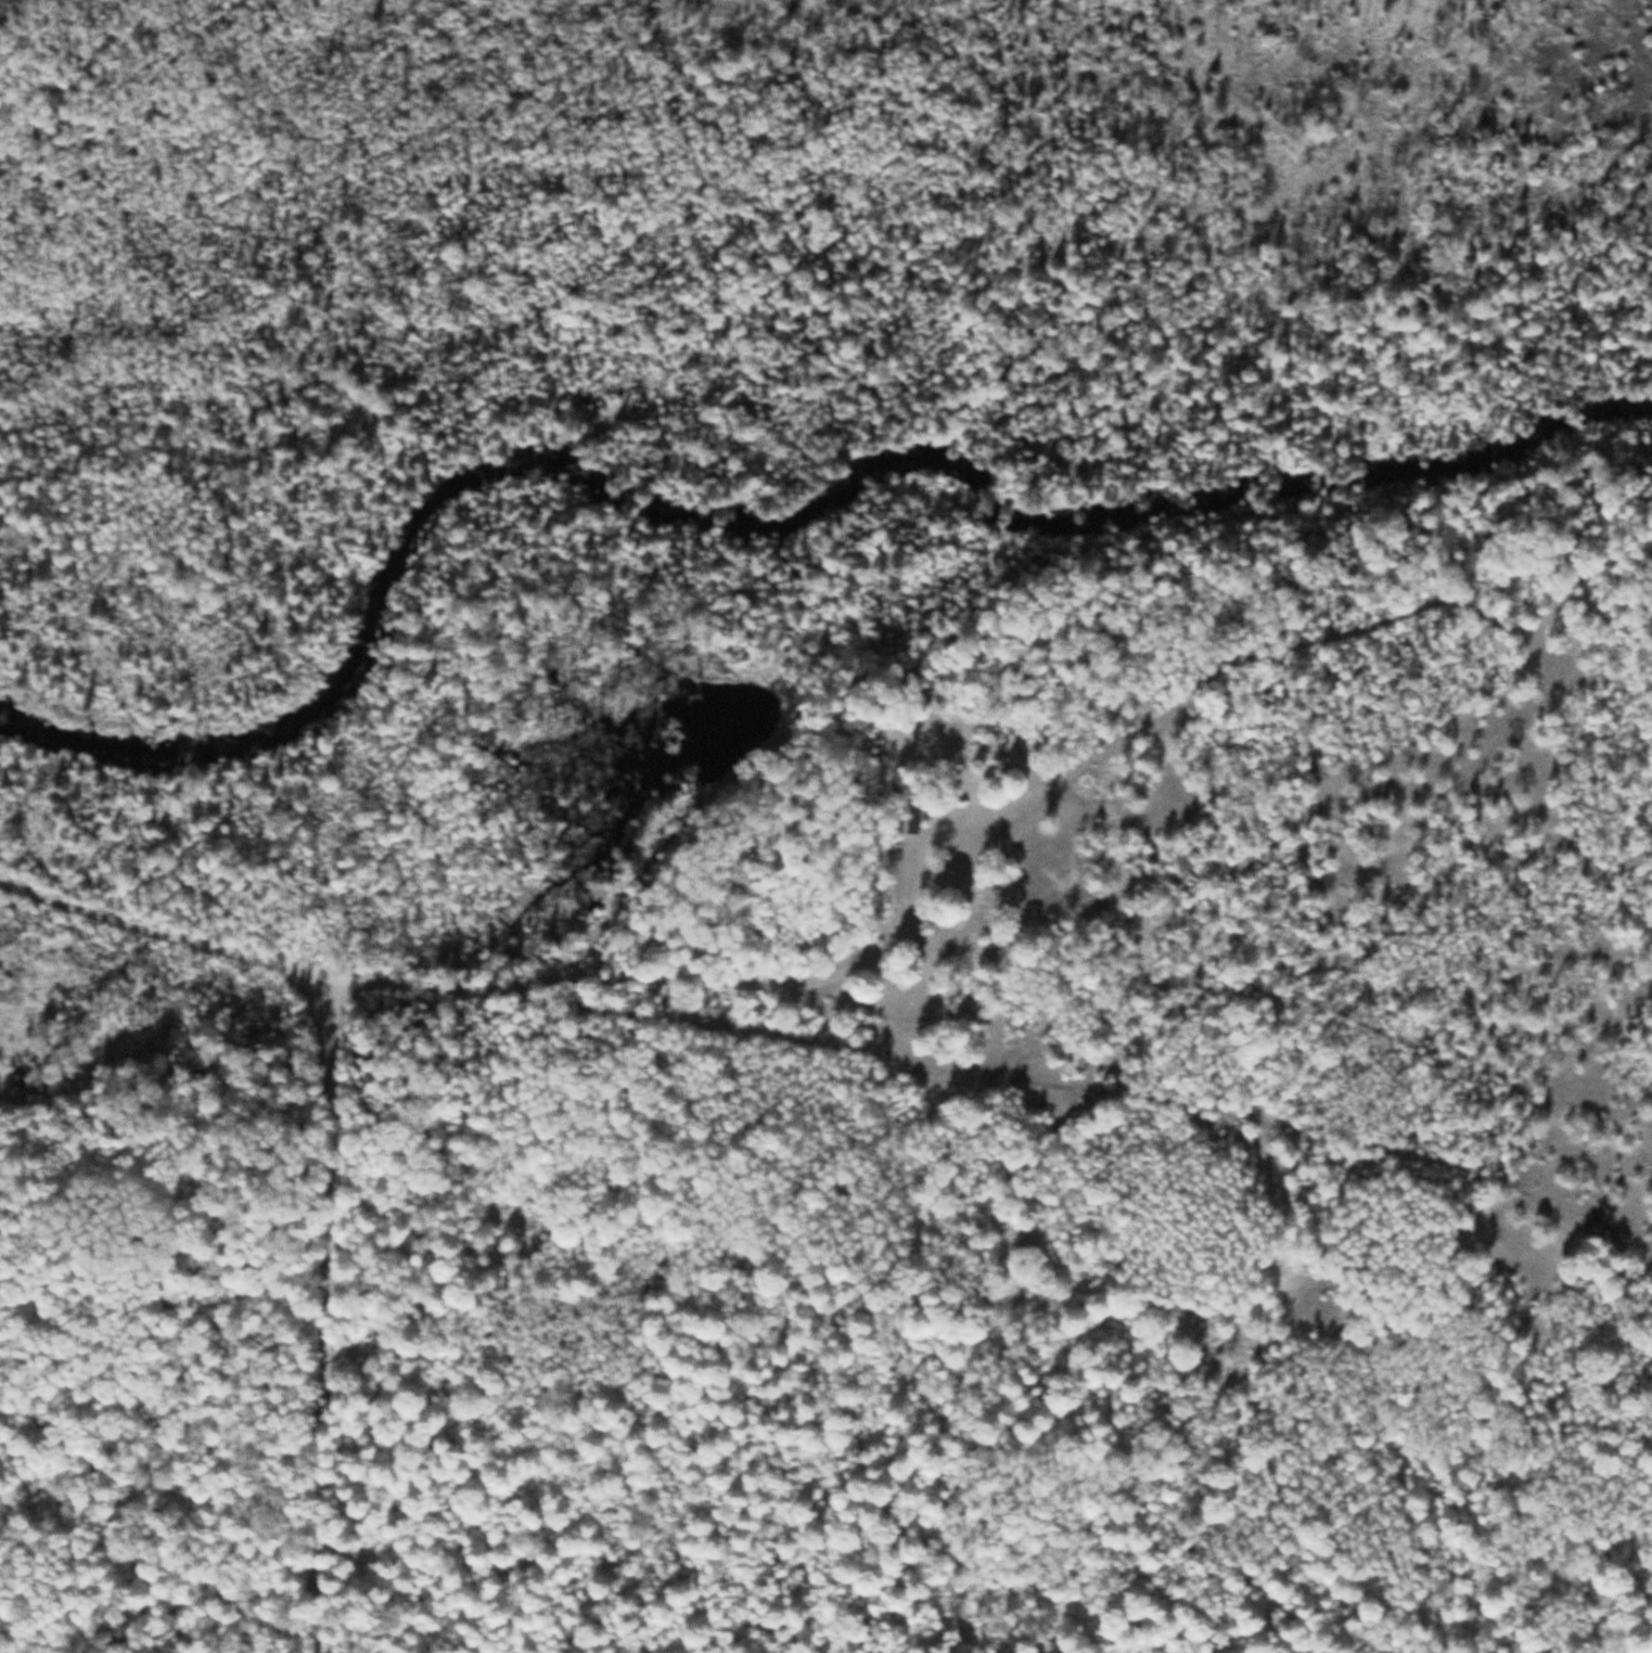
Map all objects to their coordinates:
river: (769, 528)
building: (913, 815)
road: (161, 927)
road: (789, 984)
road: (995, 1067)
road: (323, 1314)
road: (115, 1315)

